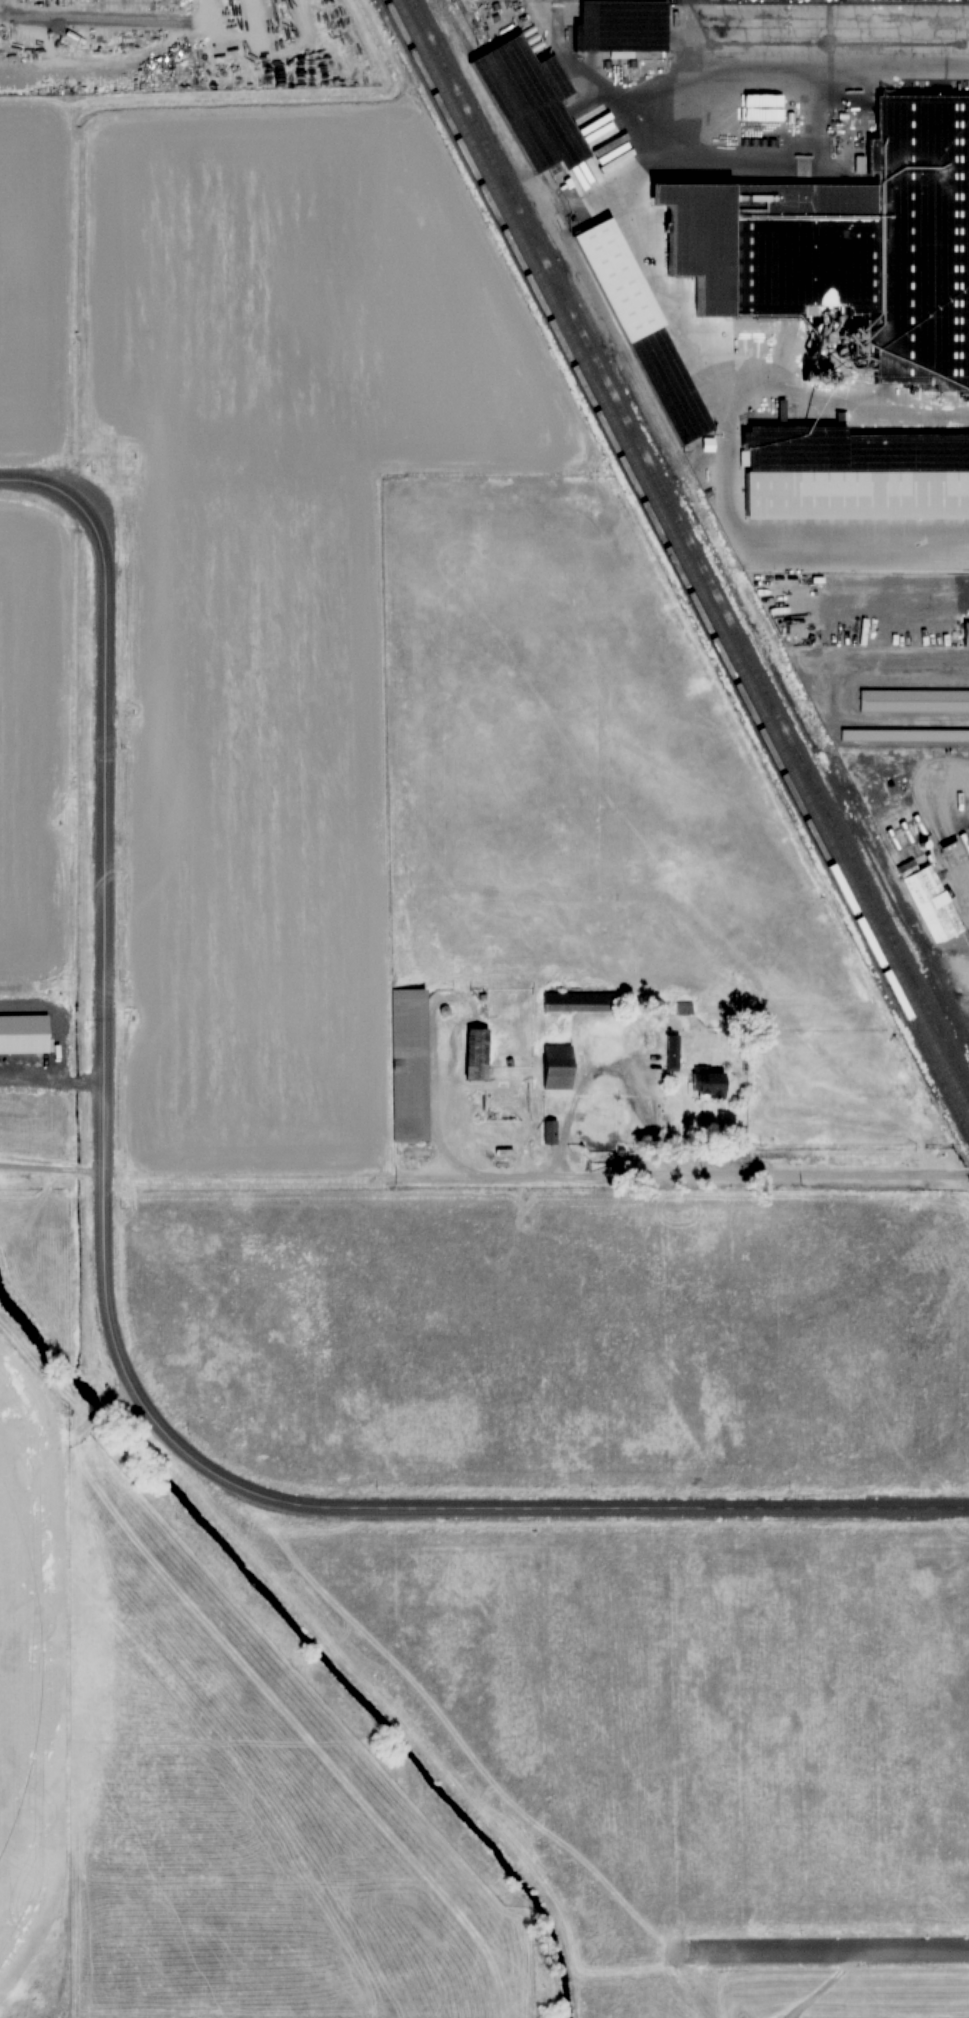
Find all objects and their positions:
building: (630, 25)
railway: (454, 28)
building: (534, 97)
building: (805, 266)
building: (678, 382)
building: (853, 467)
road: (40, 481)
railway: (689, 545)
railway: (682, 557)
railway: (676, 569)
building: (914, 698)
building: (904, 734)
building: (933, 905)
road: (103, 991)
building: (580, 1002)
building: (478, 1054)
building: (411, 1065)
building: (560, 1067)
building: (714, 1085)
building: (550, 1132)
road: (758, 1170)
crop: (390, 1223)
road: (579, 1507)

